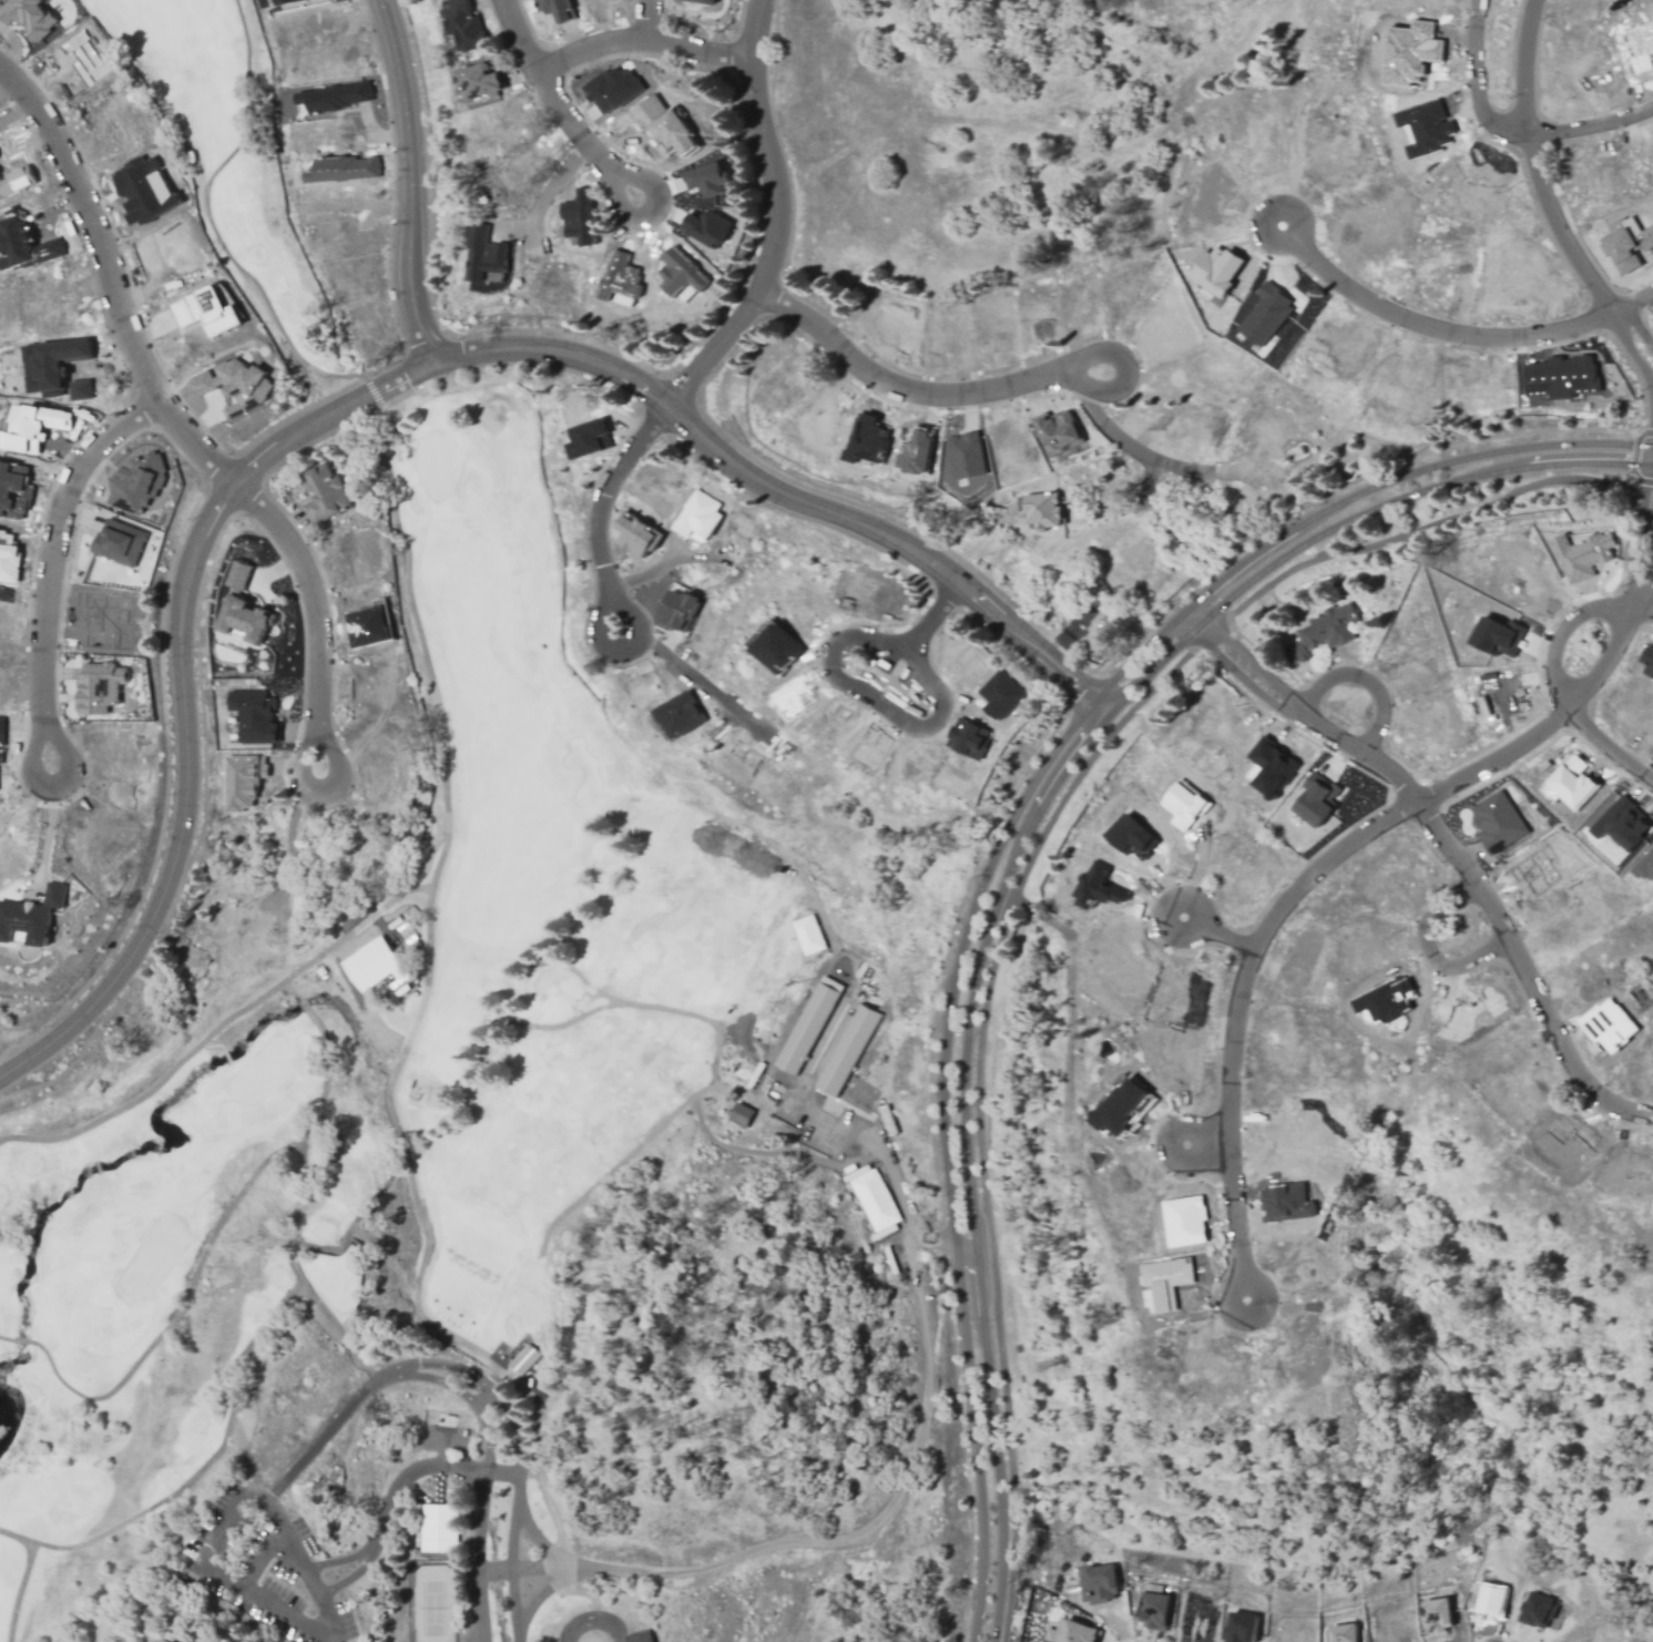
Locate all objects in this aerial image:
building: (280, 1)
building: (707, 1)
building: (555, 8)
building: (29, 17)
road: (644, 19)
building: (462, 23)
road: (517, 35)
road: (640, 38)
building: (1410, 52)
building: (479, 80)
road: (1476, 82)
building: (611, 88)
building: (331, 96)
building: (662, 124)
building: (1424, 128)
road: (1591, 128)
road: (1534, 167)
building: (340, 170)
building: (707, 176)
building: (17, 182)
road: (408, 182)
road: (614, 184)
building: (143, 190)
road: (552, 191)
road: (776, 217)
building: (578, 218)
building: (706, 226)
building: (22, 243)
building: (1626, 243)
building: (484, 255)
building: (681, 273)
building: (1215, 273)
building: (619, 279)
road: (110, 283)
road: (1634, 303)
building: (205, 309)
road: (1385, 310)
building: (1265, 315)
road: (1639, 329)
road: (1635, 356)
building: (49, 365)
building: (1563, 375)
building: (232, 384)
building: (79, 388)
road: (978, 390)
road: (375, 396)
building: (32, 427)
building: (1058, 429)
building: (589, 438)
building: (865, 439)
building: (916, 451)
building: (966, 455)
road: (1152, 461)
road: (1633, 461)
building: (135, 483)
building: (14, 491)
building: (327, 493)
road: (1346, 502)
building: (1042, 508)
road: (599, 510)
building: (698, 514)
road: (1353, 518)
building: (635, 534)
building: (119, 543)
building: (1583, 553)
building: (7, 558)
road: (50, 565)
building: (242, 605)
building: (676, 609)
road: (1642, 613)
road: (315, 614)
building: (369, 624)
building: (1094, 626)
building: (1326, 631)
road: (924, 632)
building: (1496, 635)
road: (1560, 636)
building: (776, 647)
building: (1647, 659)
road: (1364, 679)
road: (695, 684)
building: (100, 689)
building: (999, 695)
building: (789, 697)
building: (254, 715)
building: (676, 716)
building: (0, 725)
building: (967, 738)
road: (1071, 743)
road: (1608, 748)
building: (1272, 768)
building: (1571, 781)
building: (243, 782)
building: (1316, 798)
building: (1183, 805)
building: (1497, 822)
building: (1621, 823)
road: (48, 826)
building: (1130, 837)
road: (292, 838)
road: (986, 840)
road: (1451, 855)
road: (1330, 857)
building: (1646, 866)
road: (1028, 880)
building: (1095, 888)
road: (385, 904)
building: (24, 924)
road: (1221, 932)
building: (808, 935)
road: (1428, 952)
building: (371, 963)
building: (1385, 1000)
building: (808, 1024)
building: (1609, 1024)
road: (408, 1036)
building: (847, 1050)
park: (492, 1097)
building: (1121, 1108)
road: (673, 1110)
building: (743, 1115)
road: (1203, 1141)
road: (773, 1152)
building: (874, 1199)
building: (1284, 1203)
road: (952, 1205)
road: (978, 1210)
building: (1184, 1221)
road: (930, 1238)
road: (318, 1250)
road: (197, 1262)
road: (417, 1274)
building: (1163, 1282)
road: (6, 1337)
road: (20, 1339)
building: (523, 1357)
road: (416, 1376)
road: (500, 1399)
road: (225, 1426)
road: (486, 1458)
building: (438, 1526)
road: (537, 1534)
road: (214, 1546)
road: (518, 1548)
road: (762, 1548)
road: (478, 1558)
road: (521, 1568)
road: (356, 1572)
road: (23, 1575)
building: (1099, 1583)
park: (439, 1595)
building: (1491, 1600)
road: (533, 1603)
building: (1538, 1609)
building: (1154, 1610)
building: (1437, 1616)
road: (324, 1620)
road: (591, 1620)
building: (1242, 1628)
building: (1070, 1632)
building: (1344, 1633)
building: (164, 1640)

